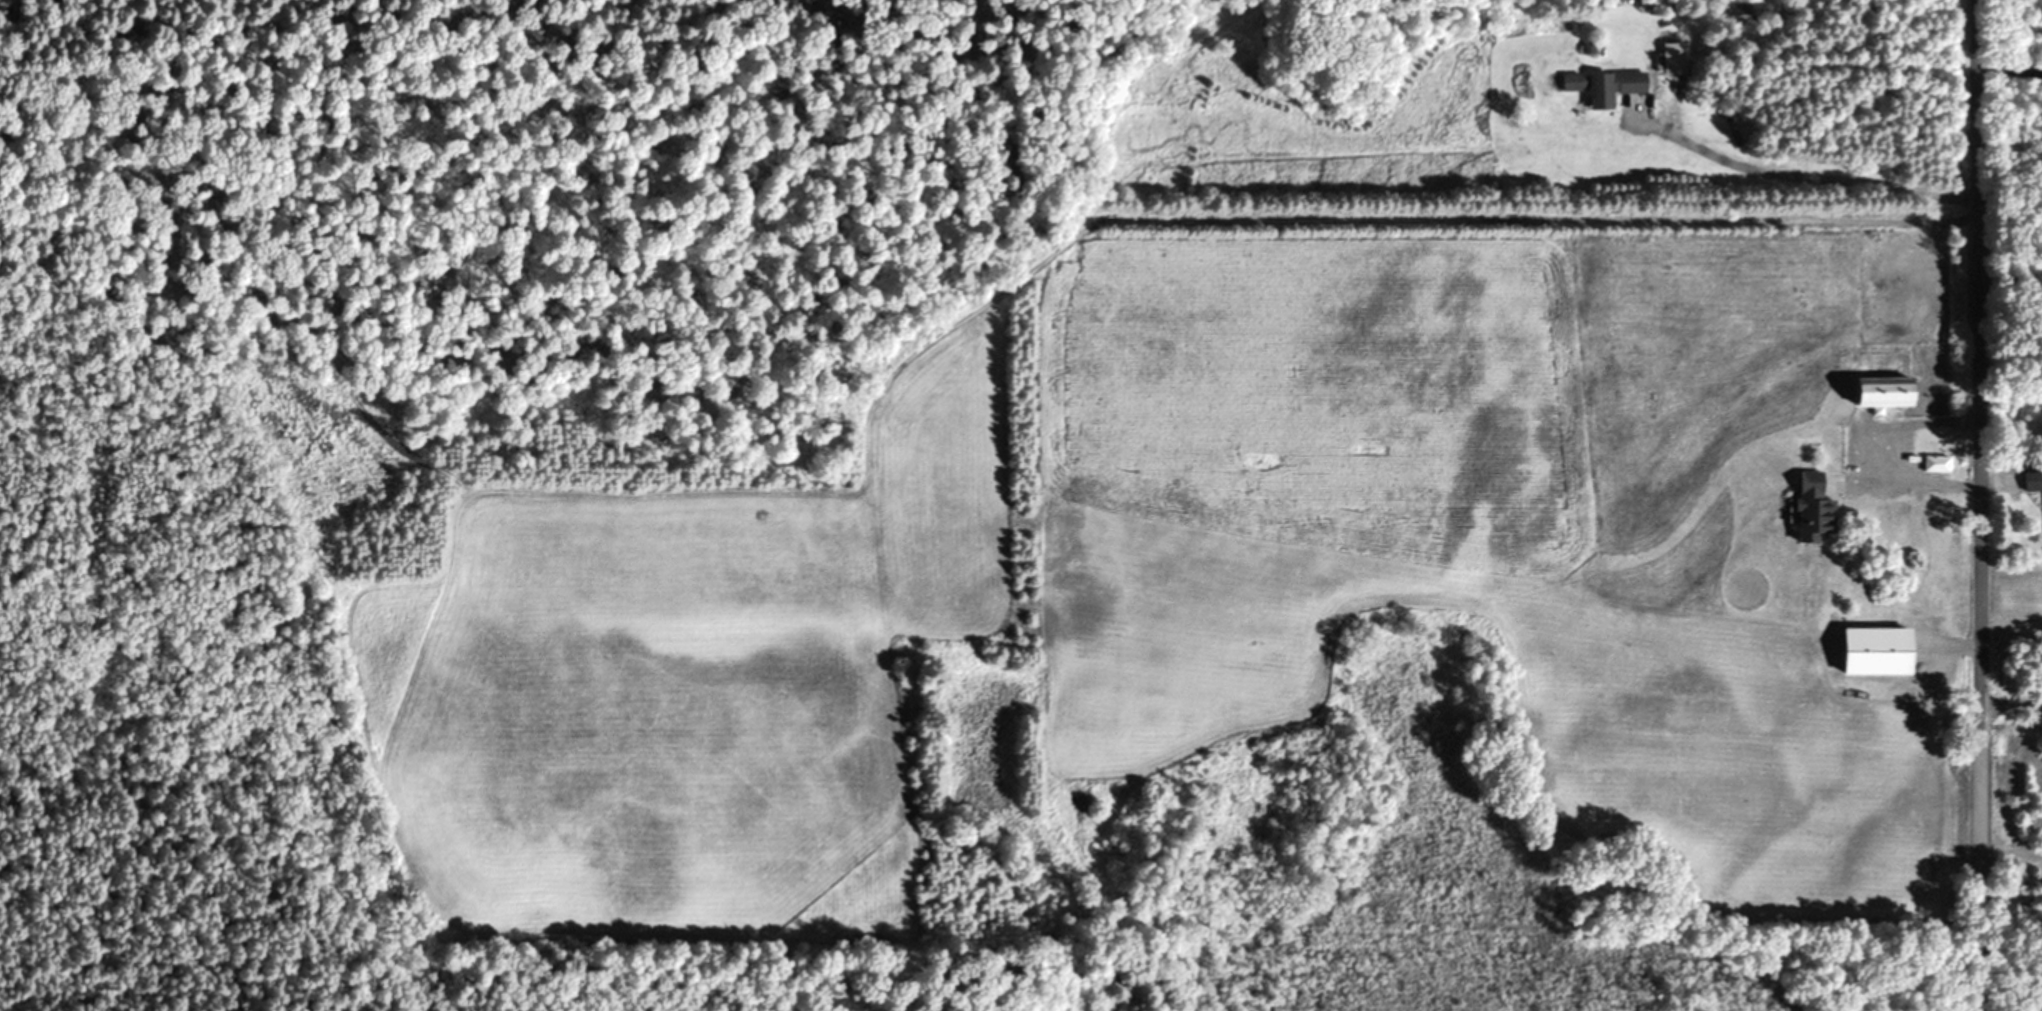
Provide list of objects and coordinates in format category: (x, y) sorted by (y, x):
building: (1738, 10)
building: (1676, 59)
building: (1606, 87)
road: (1795, 176)
building: (1888, 392)
building: (1938, 464)
building: (2033, 481)
road: (1968, 505)
building: (1816, 509)
building: (1881, 652)

